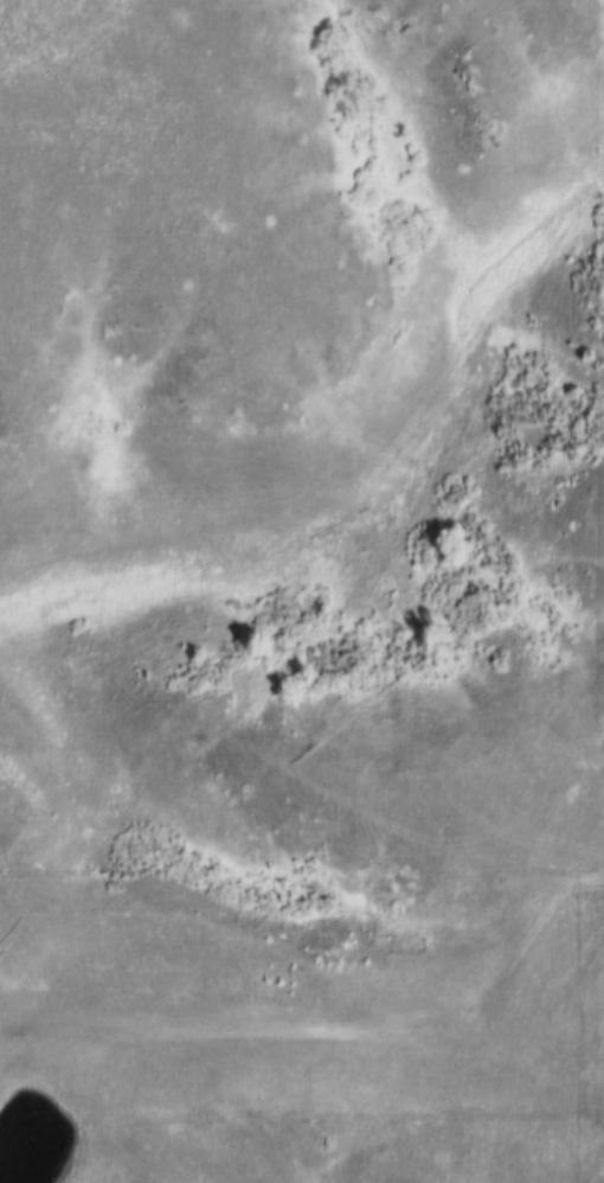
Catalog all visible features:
road: (27, 933)

